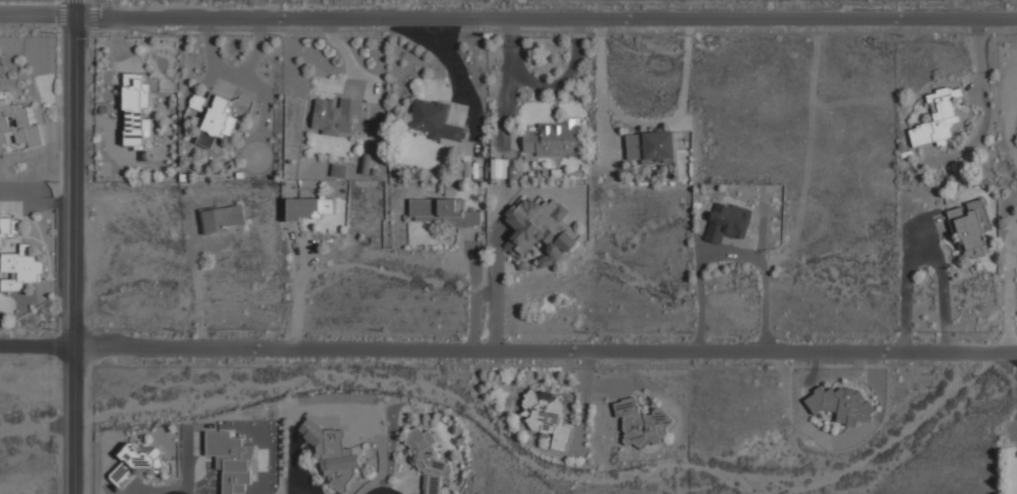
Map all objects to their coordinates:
road: (508, 7)
building: (136, 92)
building: (198, 102)
building: (939, 117)
building: (337, 118)
building: (433, 121)
building: (217, 122)
building: (17, 125)
building: (550, 139)
building: (650, 146)
building: (366, 164)
building: (499, 168)
building: (464, 170)
building: (302, 208)
building: (442, 211)
building: (223, 218)
building: (728, 222)
building: (9, 226)
building: (971, 226)
building: (538, 229)
road: (79, 247)
building: (21, 268)
road: (297, 284)
road: (498, 284)
road: (199, 288)
road: (472, 289)
road: (508, 338)
building: (842, 405)
building: (548, 416)
building: (641, 423)
building: (331, 453)
building: (426, 459)
building: (231, 460)
building: (136, 463)
road: (171, 493)
road: (376, 493)

